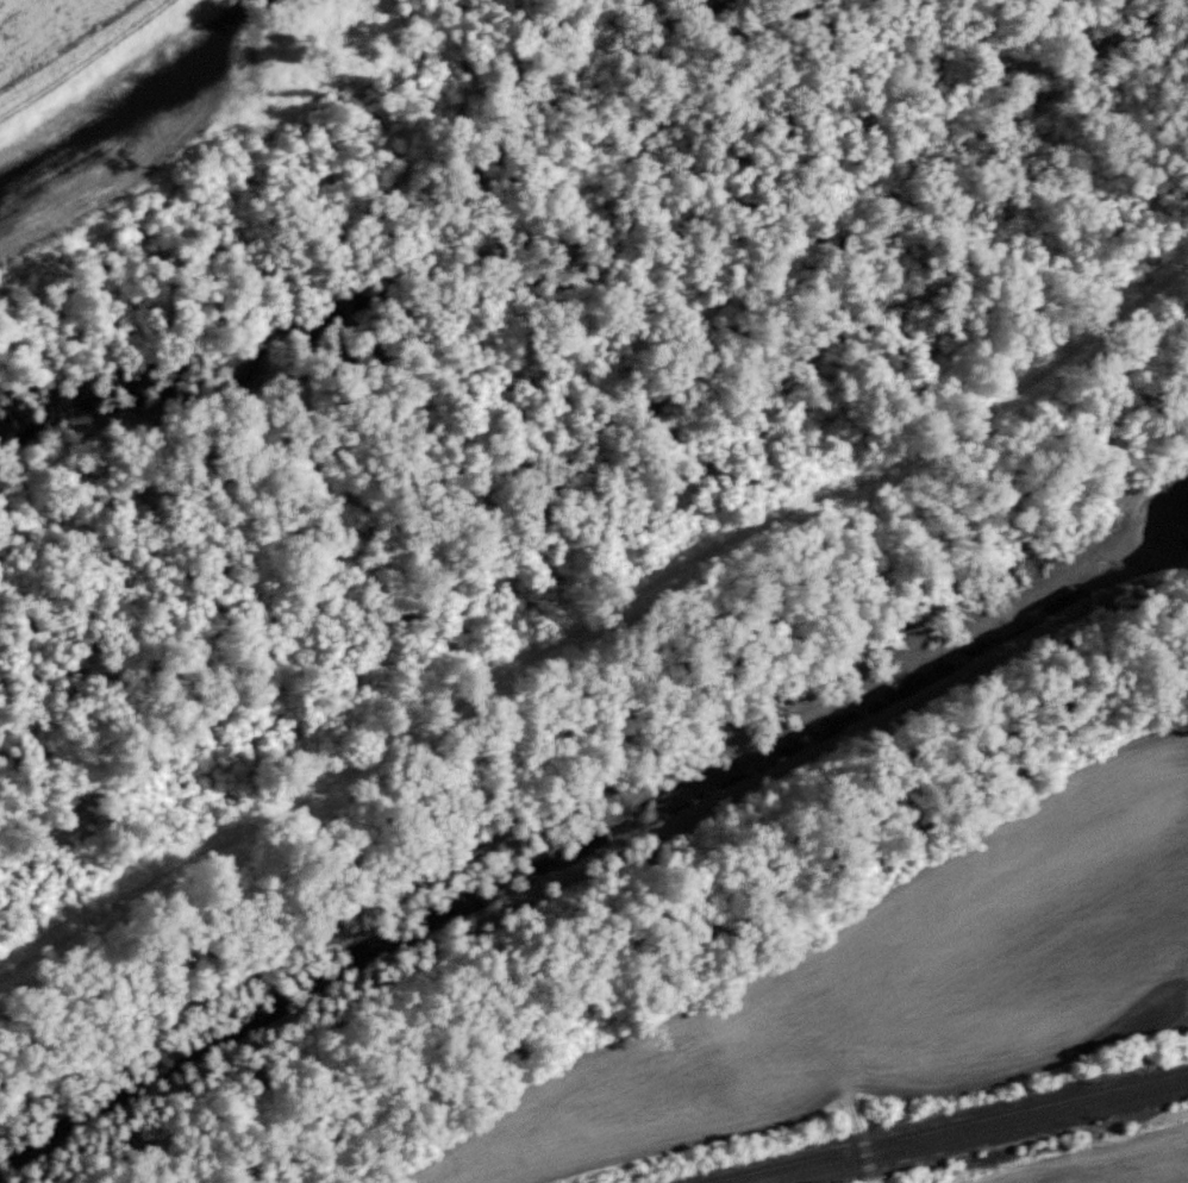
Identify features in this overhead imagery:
railway: (948, 1128)
railway: (978, 1134)

